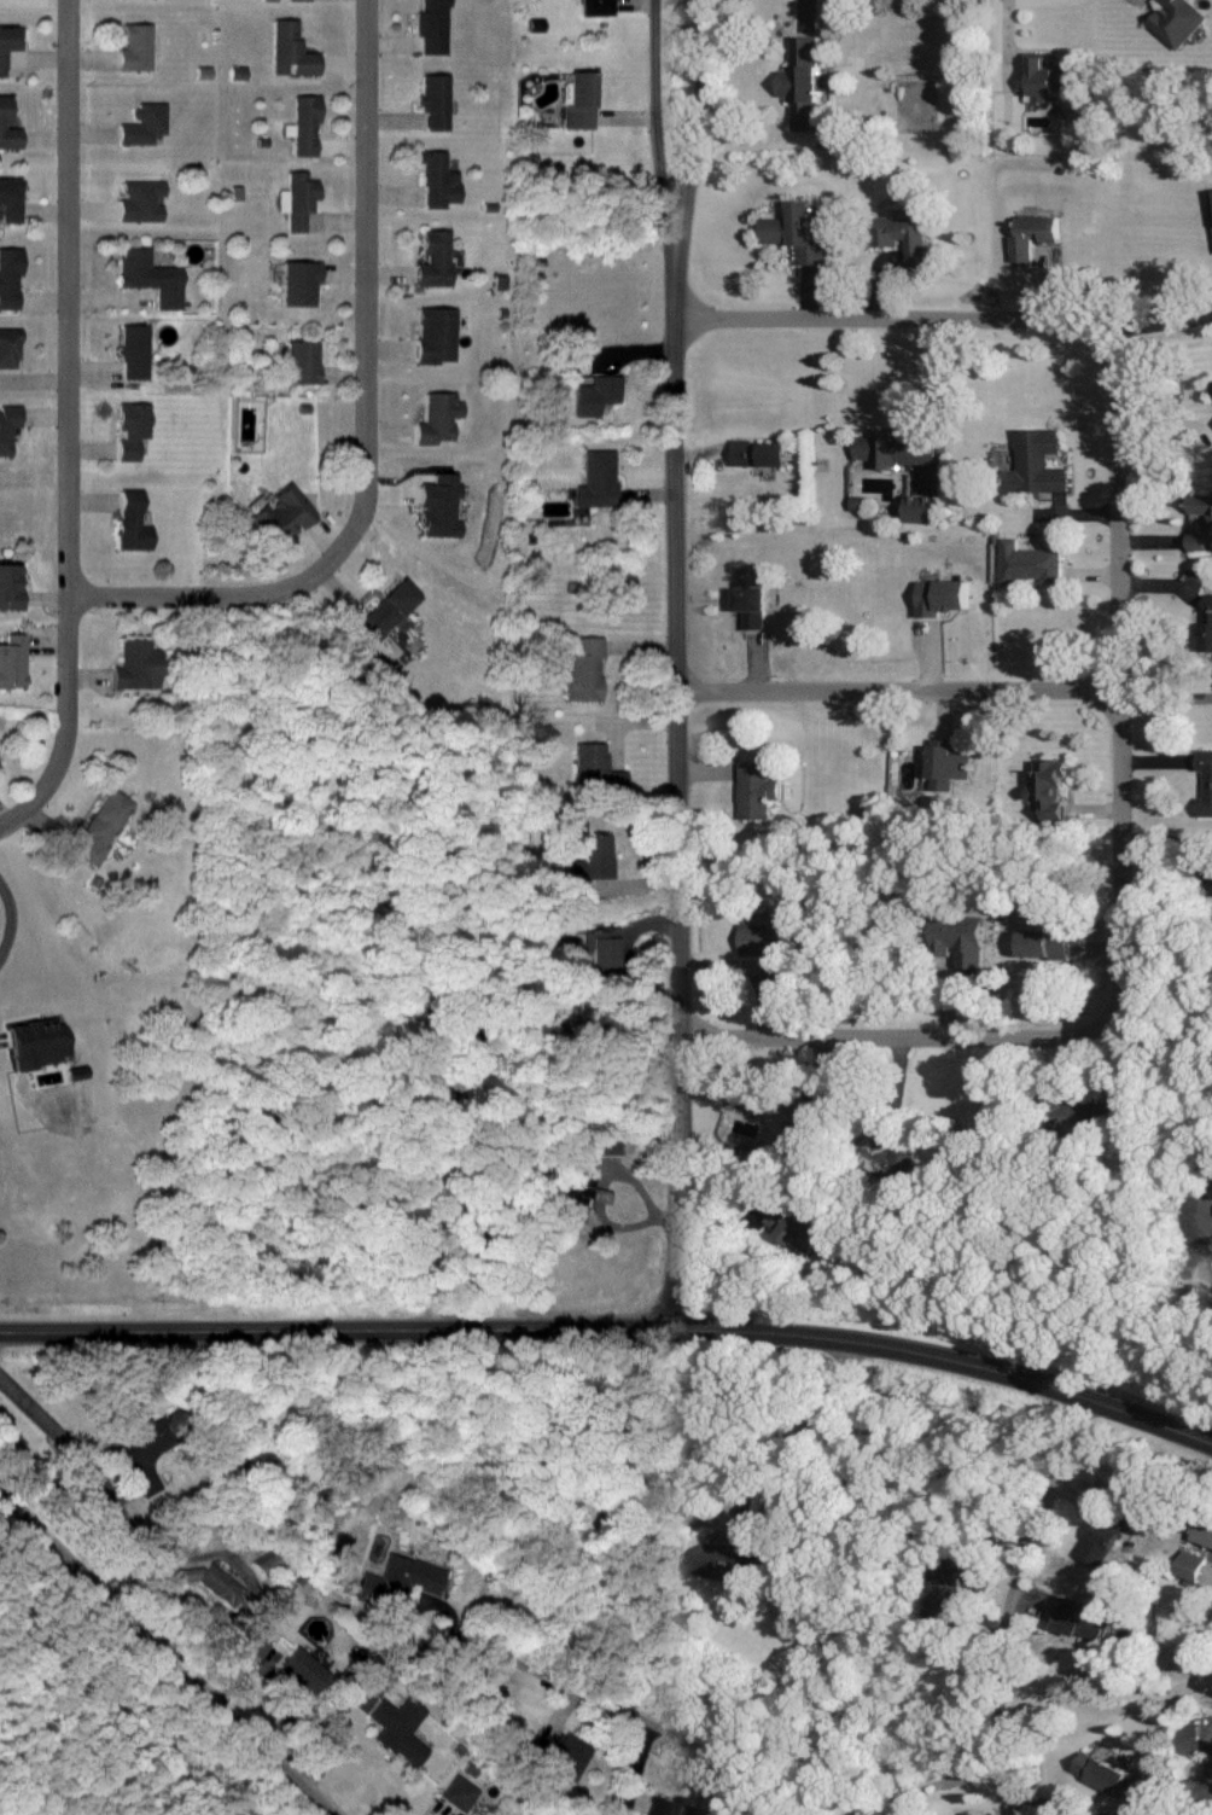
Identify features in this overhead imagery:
building: (297, 0)
building: (596, 7)
building: (1177, 22)
building: (431, 27)
building: (7, 45)
building: (135, 50)
building: (290, 51)
building: (203, 74)
building: (237, 74)
building: (1043, 77)
building: (804, 85)
building: (581, 100)
building: (433, 101)
road: (651, 111)
road: (691, 111)
building: (142, 124)
building: (304, 127)
building: (7, 128)
building: (436, 181)
building: (1211, 198)
building: (8, 200)
building: (296, 200)
building: (139, 202)
building: (796, 234)
building: (1033, 235)
building: (903, 237)
building: (433, 260)
building: (150, 278)
building: (8, 279)
building: (297, 284)
road: (359, 299)
road: (1065, 326)
road: (1156, 332)
building: (436, 336)
building: (8, 349)
building: (133, 353)
building: (301, 363)
building: (593, 396)
road: (68, 413)
building: (437, 419)
building: (7, 427)
building: (130, 430)
building: (893, 449)
building: (758, 454)
building: (1037, 464)
building: (596, 481)
building: (438, 507)
building: (1201, 507)
building: (921, 510)
building: (280, 516)
building: (129, 523)
building: (1198, 542)
building: (1030, 564)
building: (8, 588)
road: (191, 594)
building: (942, 597)
building: (752, 598)
building: (389, 610)
building: (1208, 622)
building: (12, 661)
building: (135, 667)
building: (584, 669)
road: (887, 700)
road: (1108, 709)
road: (1160, 714)
building: (946, 764)
building: (594, 768)
road: (669, 768)
building: (1206, 780)
building: (1049, 785)
building: (756, 790)
road: (12, 821)
building: (101, 826)
road: (1170, 840)
building: (592, 856)
road: (1111, 880)
road: (12, 920)
building: (962, 937)
building: (1044, 942)
building: (765, 943)
building: (601, 949)
building: (465, 1036)
road: (881, 1040)
building: (57, 1042)
building: (75, 1072)
building: (1082, 1115)
building: (792, 1129)
building: (886, 1152)
building: (576, 1198)
building: (794, 1227)
road: (613, 1320)
road: (52, 1427)
building: (141, 1452)
building: (1204, 1531)
building: (1102, 1536)
building: (730, 1548)
building: (1190, 1565)
building: (400, 1580)
building: (215, 1583)
building: (945, 1593)
road: (1013, 1596)
building: (1082, 1619)
road: (473, 1640)
building: (251, 1647)
road: (183, 1651)
building: (302, 1669)
building: (397, 1729)
building: (1188, 1739)
building: (554, 1757)
building: (1111, 1778)
building: (1206, 1788)
building: (456, 1793)
building: (668, 1807)

